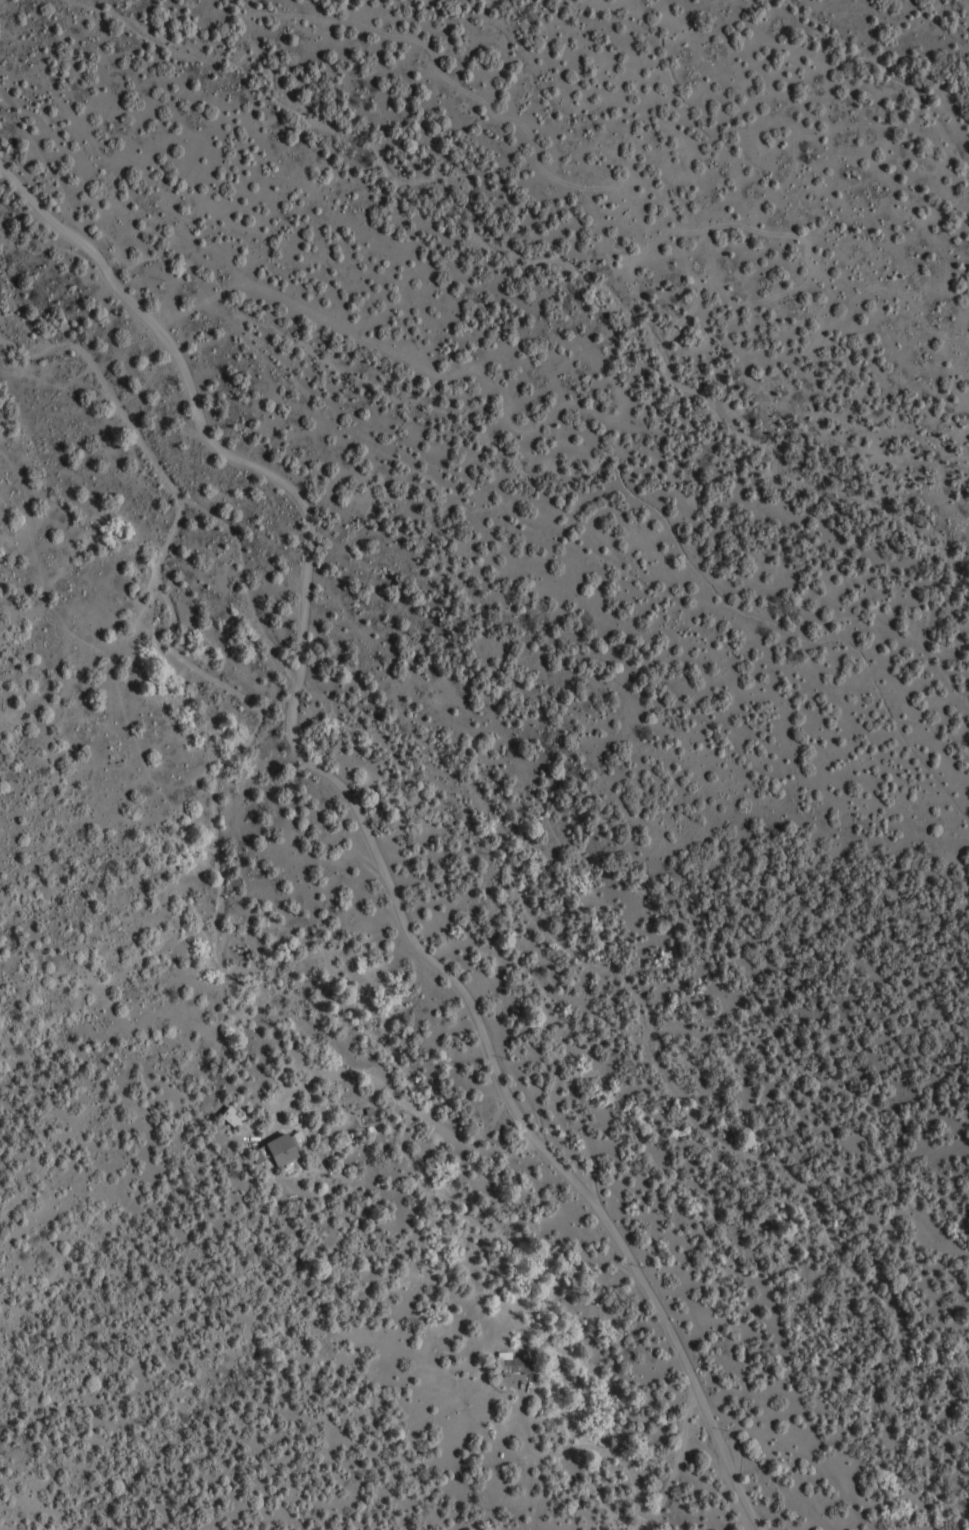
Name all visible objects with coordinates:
road: (365, 835)
building: (236, 1116)
building: (291, 1148)
building: (521, 1365)

